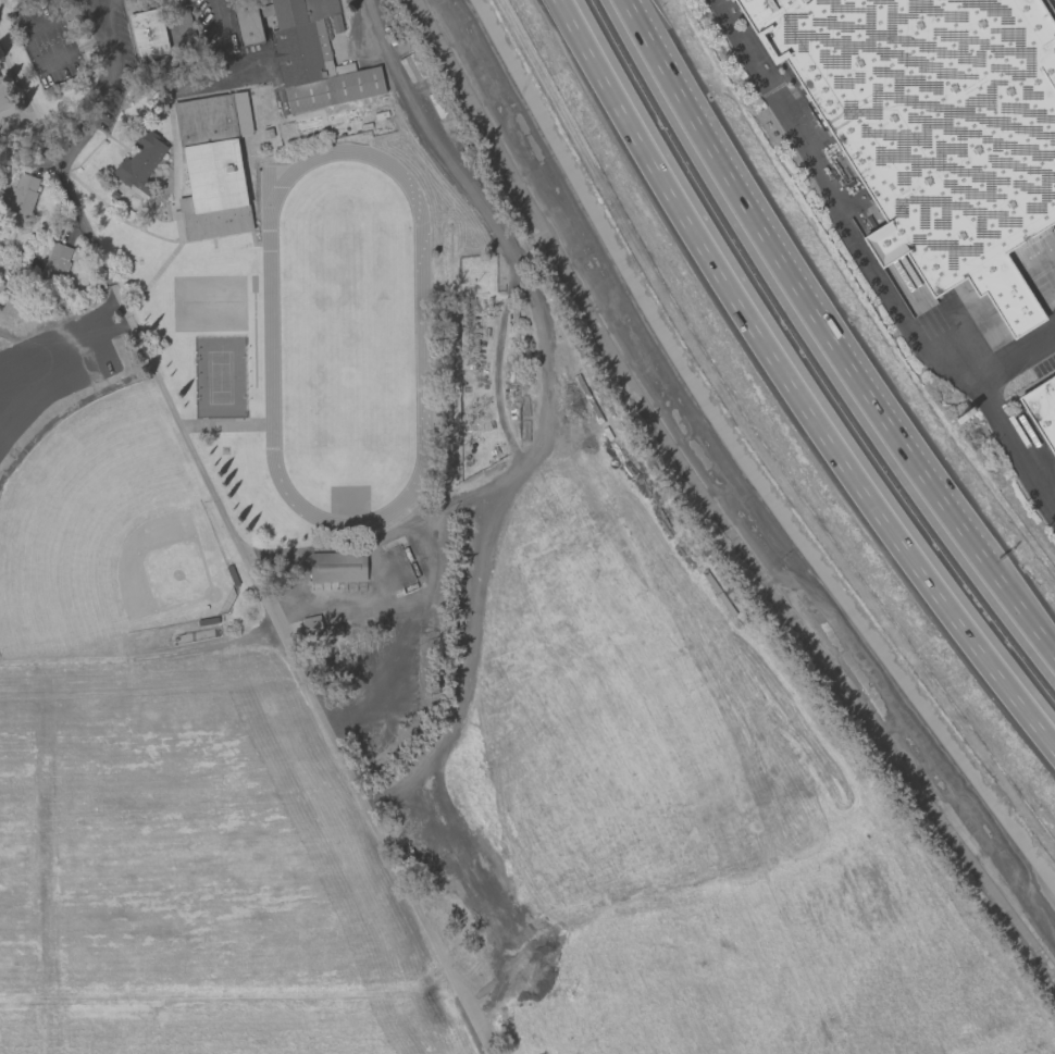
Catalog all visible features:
road: (87, 4)
road: (215, 12)
building: (247, 22)
building: (148, 34)
building: (313, 58)
building: (4, 102)
building: (933, 125)
building: (140, 162)
building: (213, 165)
building: (21, 197)
road: (833, 204)
building: (55, 260)
building: (1, 286)
road: (793, 288)
road: (63, 330)
road: (792, 382)
road: (989, 402)
road: (542, 410)
building: (1041, 412)
road: (232, 532)
building: (337, 567)
road: (1019, 613)
building: (311, 627)
road: (140, 656)

